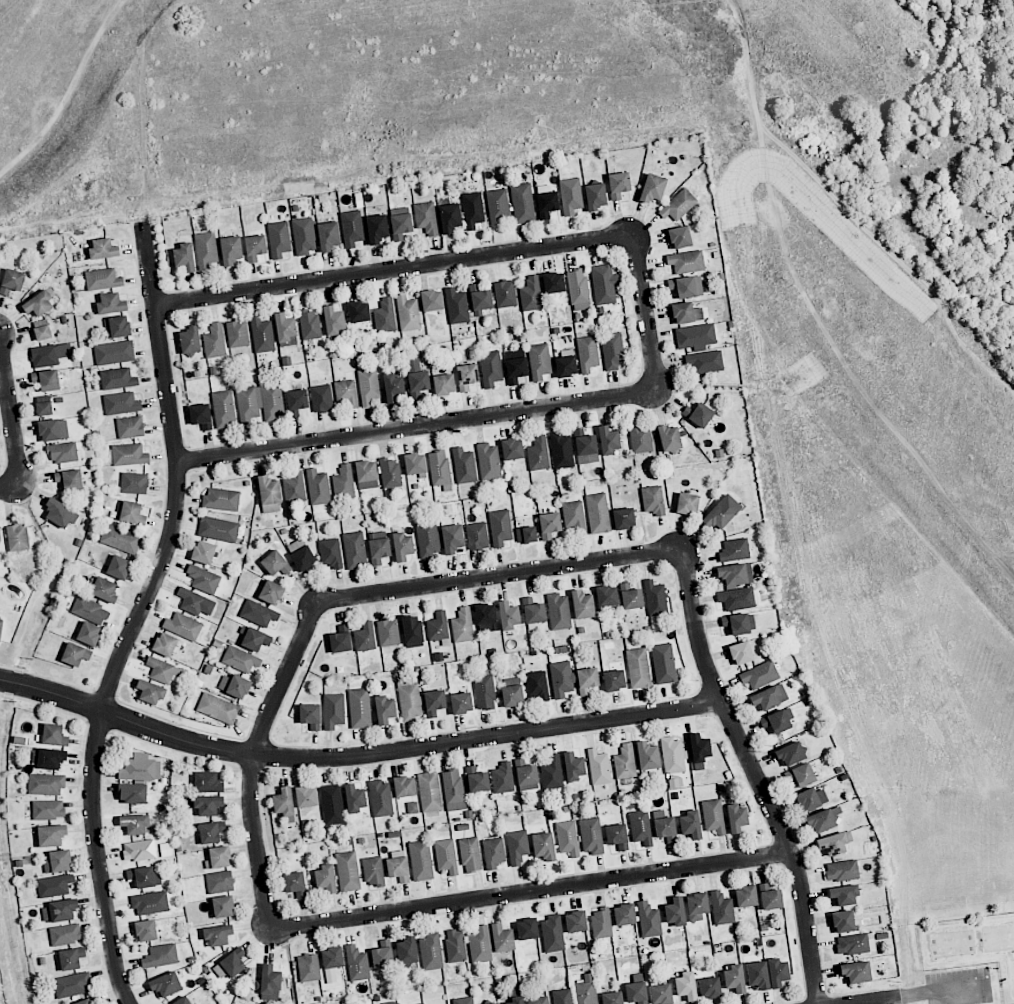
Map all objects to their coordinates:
building: (618, 185)
building: (652, 188)
building: (570, 196)
building: (595, 196)
building: (545, 201)
building: (522, 203)
building: (678, 205)
building: (497, 208)
building: (472, 210)
building: (450, 217)
building: (426, 218)
building: (400, 226)
building: (351, 228)
building: (376, 229)
building: (304, 236)
building: (328, 236)
building: (679, 237)
building: (278, 239)
building: (254, 247)
building: (103, 249)
building: (205, 250)
building: (230, 250)
building: (184, 257)
building: (686, 261)
road: (395, 271)
building: (103, 279)
building: (11, 281)
building: (553, 282)
building: (604, 284)
building: (682, 287)
building: (578, 288)
building: (505, 294)
building: (530, 294)
building: (480, 298)
building: (431, 300)
building: (111, 303)
building: (38, 304)
building: (456, 306)
building: (358, 311)
building: (408, 313)
building: (686, 313)
building: (385, 316)
building: (333, 321)
building: (309, 324)
building: (117, 327)
building: (284, 327)
road: (0, 329)
building: (42, 333)
building: (237, 333)
building: (262, 335)
building: (695, 337)
building: (189, 341)
building: (214, 341)
building: (613, 350)
building: (114, 353)
building: (49, 354)
building: (587, 354)
building: (539, 361)
building: (703, 362)
building: (565, 366)
building: (490, 368)
building: (515, 370)
building: (416, 376)
building: (466, 376)
building: (117, 379)
building: (46, 380)
building: (443, 384)
building: (368, 386)
building: (393, 387)
building: (346, 393)
building: (321, 398)
building: (296, 402)
building: (121, 403)
building: (260, 403)
building: (43, 408)
road: (11, 409)
building: (223, 409)
building: (698, 414)
building: (200, 416)
road: (499, 417)
building: (130, 427)
building: (53, 430)
building: (641, 439)
building: (669, 439)
building: (608, 440)
building: (585, 447)
building: (511, 449)
building: (561, 450)
building: (63, 452)
building: (538, 454)
building: (129, 455)
building: (489, 461)
building: (414, 464)
building: (464, 466)
building: (439, 468)
building: (390, 473)
building: (366, 475)
building: (69, 480)
building: (343, 482)
building: (134, 483)
building: (318, 487)
building: (294, 488)
road: (11, 490)
building: (269, 495)
building: (221, 499)
building: (653, 500)
building: (687, 503)
building: (721, 512)
building: (60, 513)
building: (130, 513)
building: (598, 513)
building: (574, 516)
building: (623, 518)
building: (549, 525)
building: (500, 527)
building: (218, 529)
building: (525, 535)
building: (477, 536)
building: (17, 537)
building: (452, 538)
building: (0, 539)
building: (120, 539)
building: (428, 539)
building: (402, 546)
building: (734, 549)
building: (354, 550)
building: (378, 550)
building: (203, 552)
building: (330, 553)
building: (300, 554)
building: (275, 563)
building: (118, 567)
building: (735, 574)
road: (500, 576)
building: (203, 579)
building: (104, 589)
building: (270, 592)
building: (631, 595)
building: (606, 596)
building: (655, 598)
building: (736, 598)
building: (195, 603)
building: (582, 604)
building: (90, 610)
building: (533, 611)
building: (559, 612)
road: (140, 613)
building: (258, 613)
building: (508, 615)
building: (485, 618)
building: (738, 624)
building: (462, 625)
building: (183, 626)
building: (1, 627)
building: (438, 628)
building: (412, 631)
building: (388, 632)
building: (88, 633)
building: (365, 637)
building: (253, 639)
building: (340, 639)
building: (165, 644)
building: (740, 653)
building: (75, 654)
building: (240, 659)
building: (663, 663)
building: (638, 668)
building: (162, 670)
building: (759, 675)
building: (561, 679)
building: (586, 680)
building: (613, 680)
building: (537, 685)
building: (235, 686)
building: (484, 690)
building: (150, 692)
building: (512, 695)
building: (769, 697)
building: (410, 701)
building: (434, 702)
building: (461, 703)
building: (217, 708)
building: (359, 708)
building: (384, 709)
building: (333, 710)
building: (310, 716)
building: (777, 720)
building: (54, 735)
building: (699, 750)
building: (790, 754)
building: (673, 755)
road: (357, 756)
building: (647, 756)
building: (45, 758)
road: (255, 761)
building: (625, 762)
building: (573, 766)
building: (140, 767)
building: (599, 767)
building: (551, 773)
building: (527, 775)
road: (755, 775)
building: (800, 775)
building: (502, 778)
building: (476, 780)
building: (207, 782)
building: (45, 785)
building: (404, 786)
building: (453, 790)
building: (429, 792)
building: (132, 793)
building: (306, 797)
building: (354, 798)
building: (380, 798)
building: (811, 799)
building: (283, 802)
building: (208, 805)
building: (332, 805)
building: (48, 809)
building: (659, 814)
building: (713, 816)
building: (736, 818)
building: (823, 819)
building: (134, 824)
building: (690, 825)
building: (640, 827)
building: (665, 829)
building: (211, 832)
building: (51, 835)
building: (591, 836)
building: (617, 836)
building: (567, 838)
building: (832, 844)
building: (517, 846)
building: (543, 846)
building: (139, 851)
building: (493, 852)
building: (470, 854)
building: (446, 856)
building: (218, 858)
building: (58, 861)
building: (421, 861)
building: (398, 869)
building: (841, 870)
building: (347, 871)
building: (373, 871)
building: (145, 876)
building: (325, 878)
building: (219, 881)
building: (295, 884)
building: (54, 885)
road: (530, 893)
building: (843, 895)
building: (745, 896)
building: (770, 897)
building: (150, 903)
building: (223, 906)
building: (696, 906)
building: (721, 908)
building: (59, 911)
building: (674, 912)
building: (624, 914)
building: (648, 920)
building: (575, 921)
building: (842, 921)
building: (601, 923)
building: (527, 929)
building: (146, 930)
building: (66, 934)
building: (552, 934)
building: (217, 935)
building: (502, 938)
building: (854, 944)
building: (479, 945)
building: (455, 946)
building: (407, 950)
building: (430, 952)
building: (382, 954)
building: (160, 956)
building: (71, 958)
building: (331, 963)
building: (229, 964)
building: (357, 964)
building: (308, 967)
building: (777, 972)
building: (856, 972)
building: (757, 975)
building: (637, 977)
building: (734, 978)
building: (270, 983)
building: (166, 984)
building: (72, 985)
building: (685, 986)
building: (709, 988)
building: (586, 990)
building: (636, 993)
road: (943, 993)
building: (661, 994)
building: (563, 996)
building: (612, 998)
building: (463, 1000)
building: (516, 1000)
building: (538, 1000)
building: (182, 1001)
road: (884, 1001)
building: (84, 1002)
building: (392, 1003)
building: (423, 1003)
building: (496, 1003)

